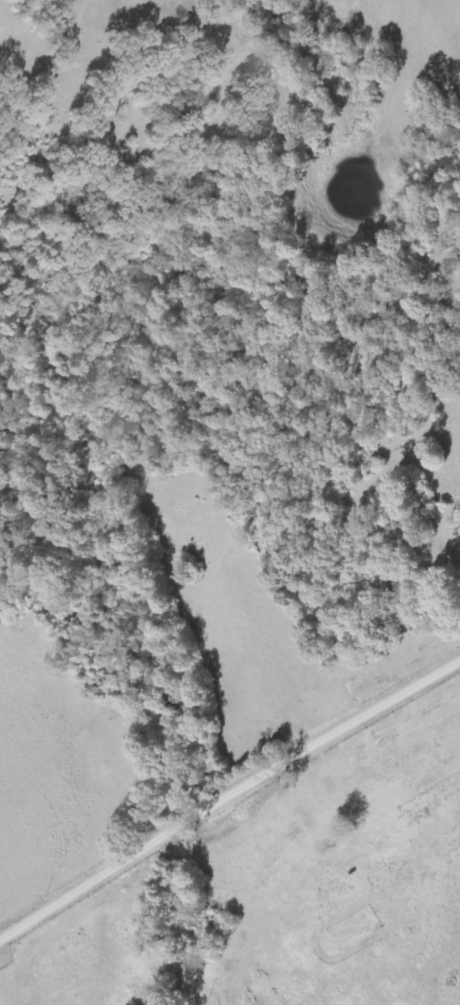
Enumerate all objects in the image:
road: (229, 794)

